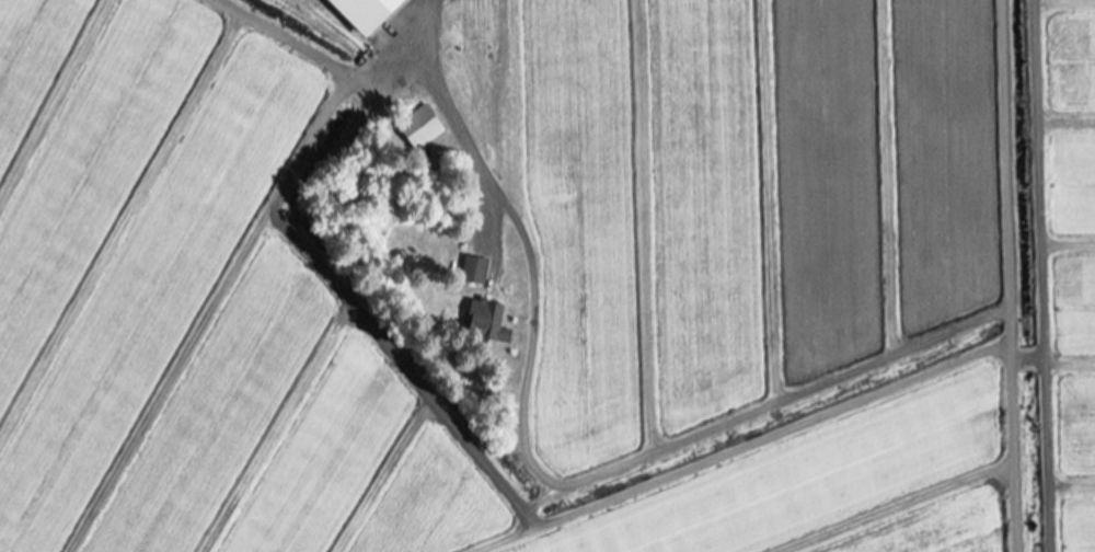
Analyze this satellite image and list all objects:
building: (365, 13)
road: (279, 41)
road: (400, 50)
building: (419, 127)
building: (474, 271)
crop: (547, 276)
road: (1033, 276)
building: (486, 321)
road: (376, 338)

